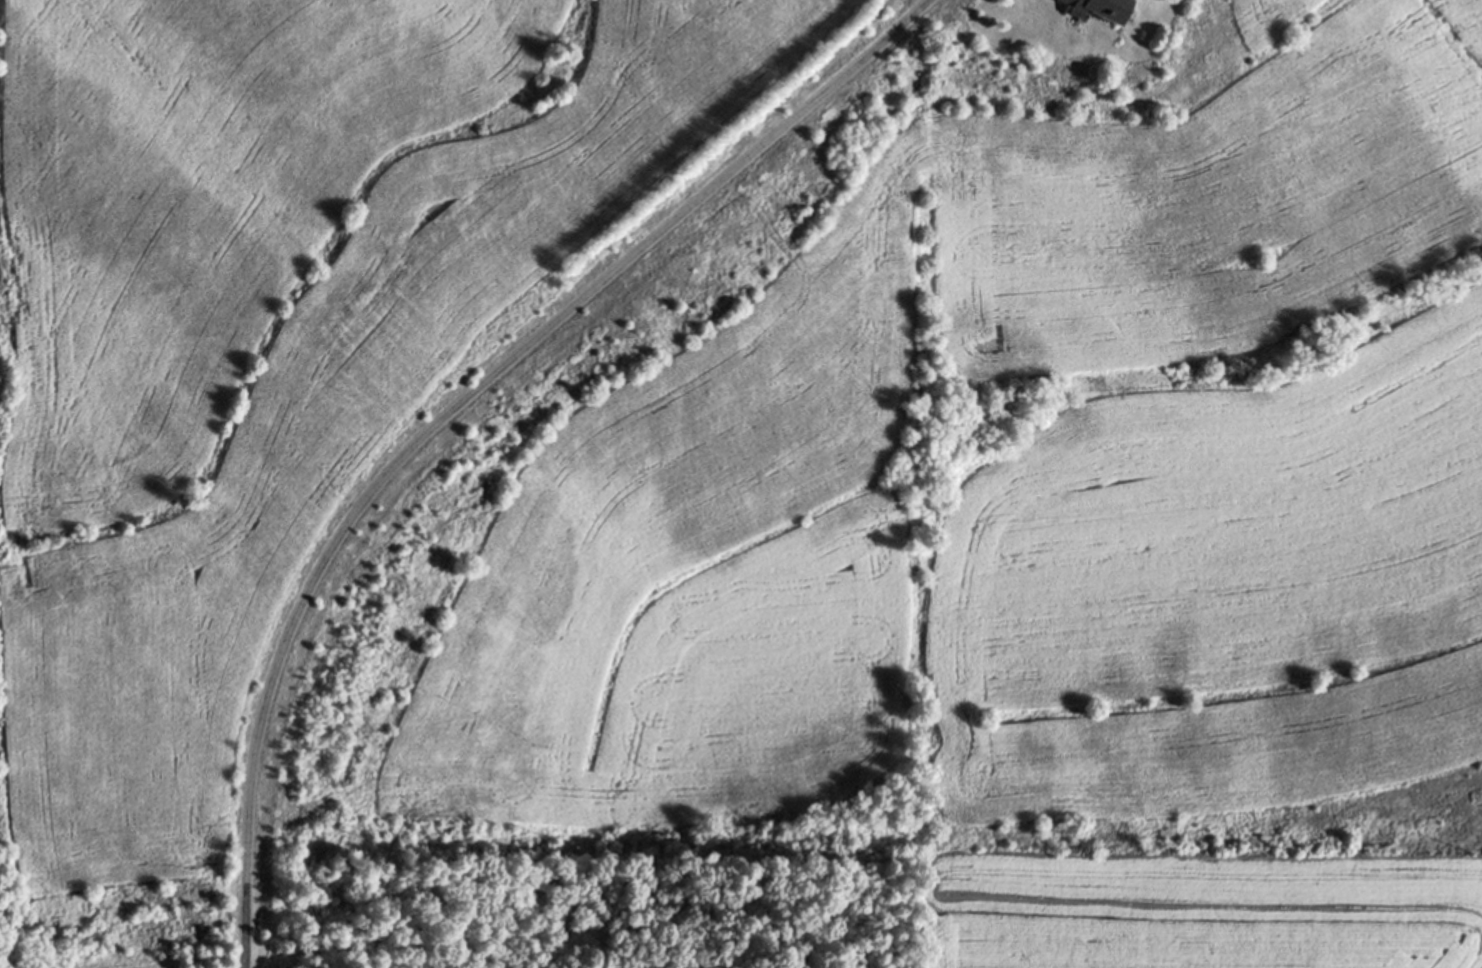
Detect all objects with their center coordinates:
building: (1095, 8)
road: (458, 410)

